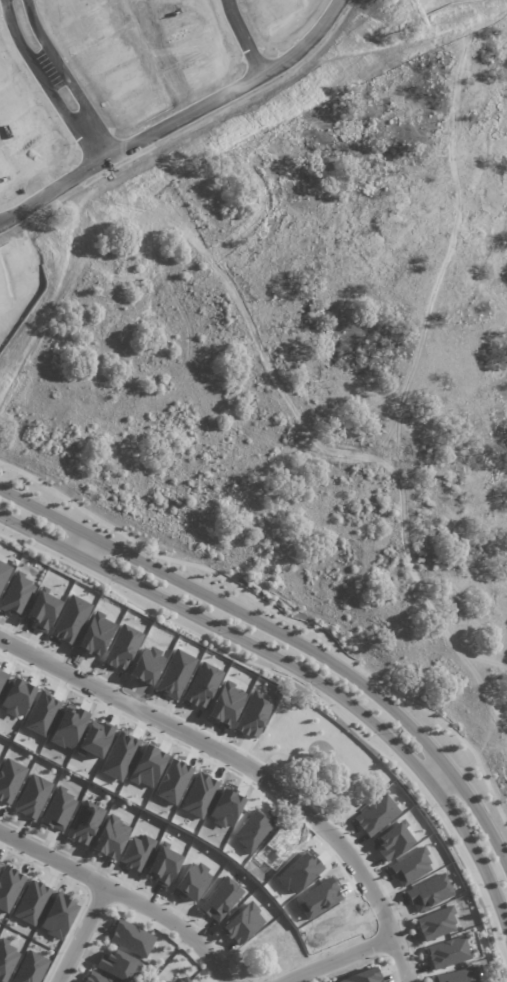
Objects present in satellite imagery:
road: (242, 37)
road: (58, 64)
road: (37, 70)
road: (177, 119)
road: (97, 143)
road: (79, 539)
road: (279, 611)
road: (285, 631)
road: (304, 673)
road: (436, 769)
road: (243, 770)
building: (10, 780)
building: (32, 797)
building: (58, 809)
building: (84, 823)
building: (110, 838)
building: (9, 887)
road: (123, 894)
building: (31, 903)
building: (57, 916)
building: (436, 924)
road: (79, 933)
building: (131, 938)
building: (448, 953)
road: (332, 959)
building: (7, 960)
building: (117, 965)
building: (30, 968)
building: (362, 976)
building: (458, 976)
building: (94, 978)
building: (182, 980)

